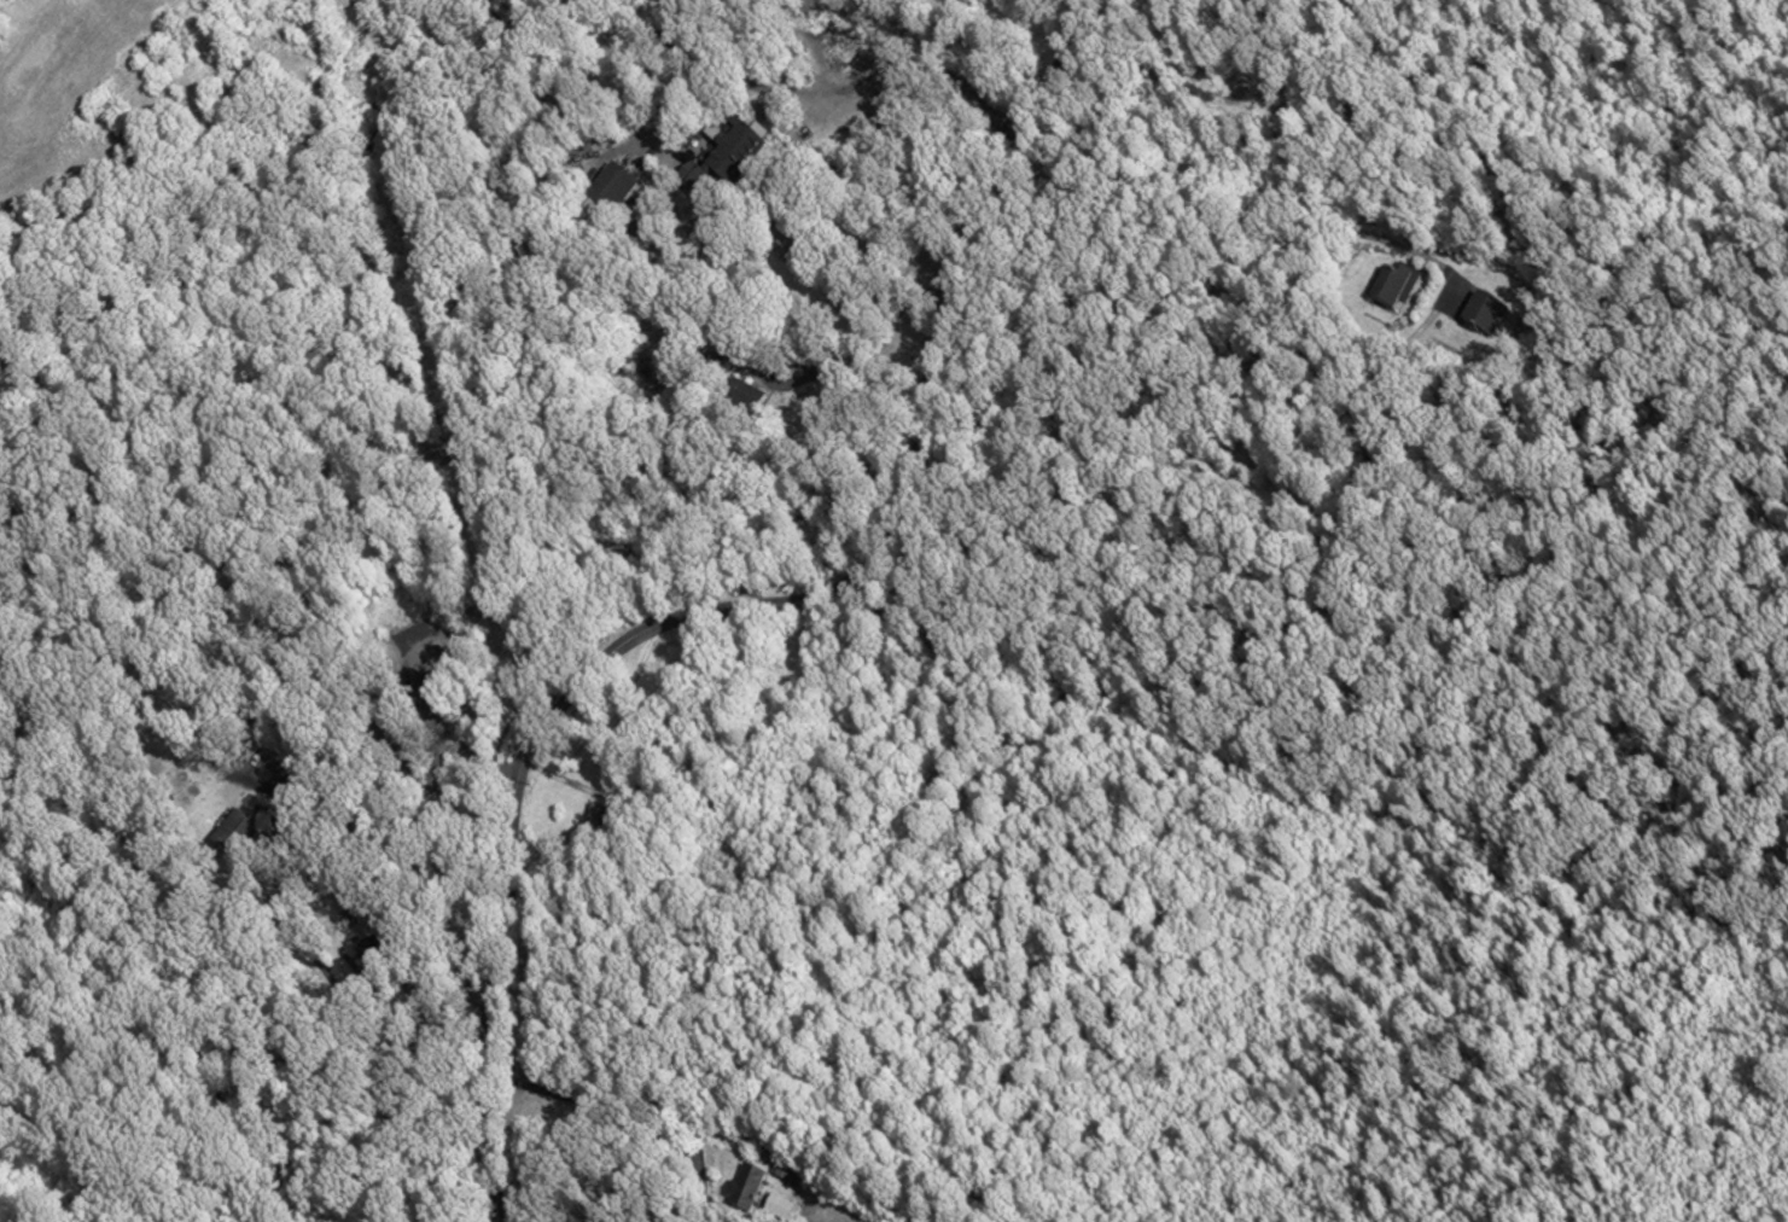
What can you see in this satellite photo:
road: (666, 120)
building: (717, 162)
building: (611, 187)
road: (1233, 225)
building: (1397, 285)
building: (1485, 310)
building: (741, 354)
building: (714, 357)
road: (845, 373)
building: (740, 397)
road: (750, 607)
building: (433, 676)
road: (245, 715)
road: (426, 755)
road: (557, 776)
building: (593, 822)
building: (235, 837)
building: (366, 953)
road: (326, 976)
road: (637, 1119)
building: (745, 1189)
building: (779, 1208)

